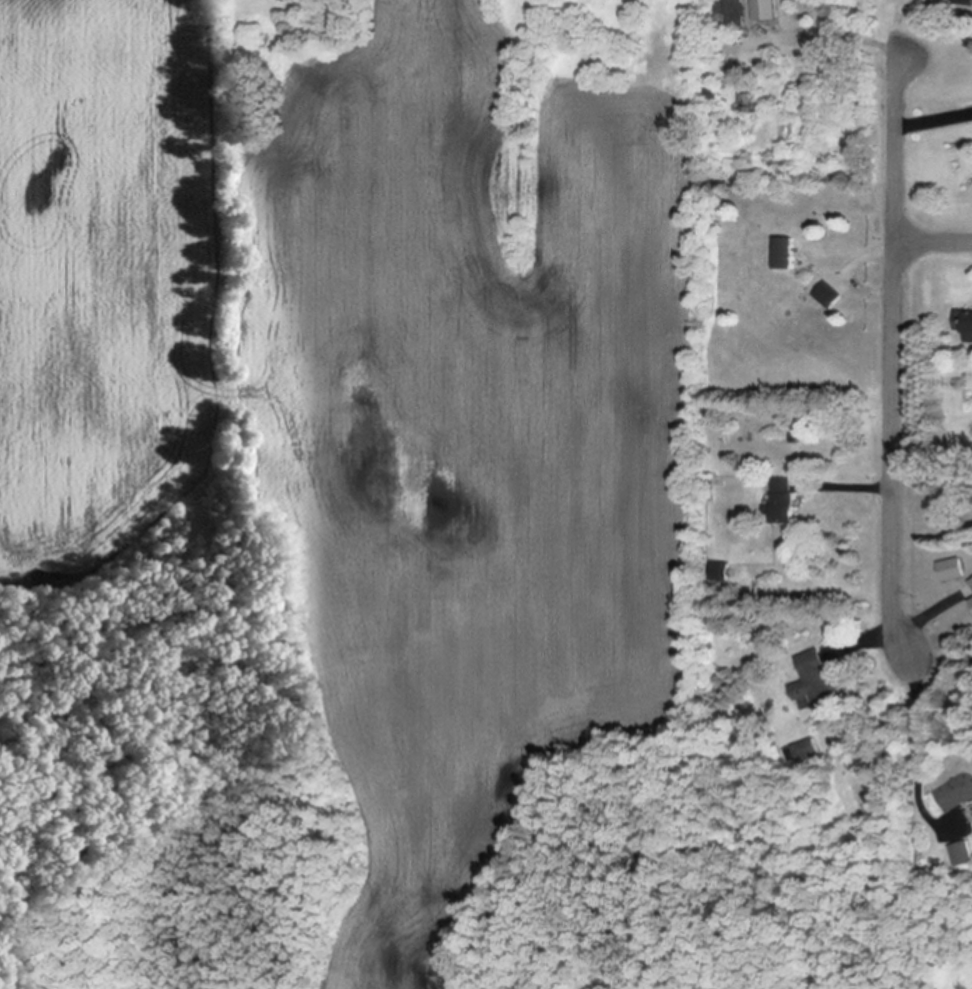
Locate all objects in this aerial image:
building: (964, 3)
building: (767, 11)
building: (730, 12)
road: (841, 39)
building: (748, 105)
road: (934, 120)
road: (897, 152)
building: (735, 167)
road: (934, 244)
building: (786, 254)
road: (855, 272)
building: (828, 297)
building: (964, 324)
road: (895, 448)
road: (856, 489)
building: (783, 503)
building: (950, 571)
building: (720, 573)
building: (970, 584)
building: (971, 603)
road: (904, 628)
building: (814, 683)
road: (917, 739)
building: (801, 752)
building: (956, 794)
building: (961, 856)

